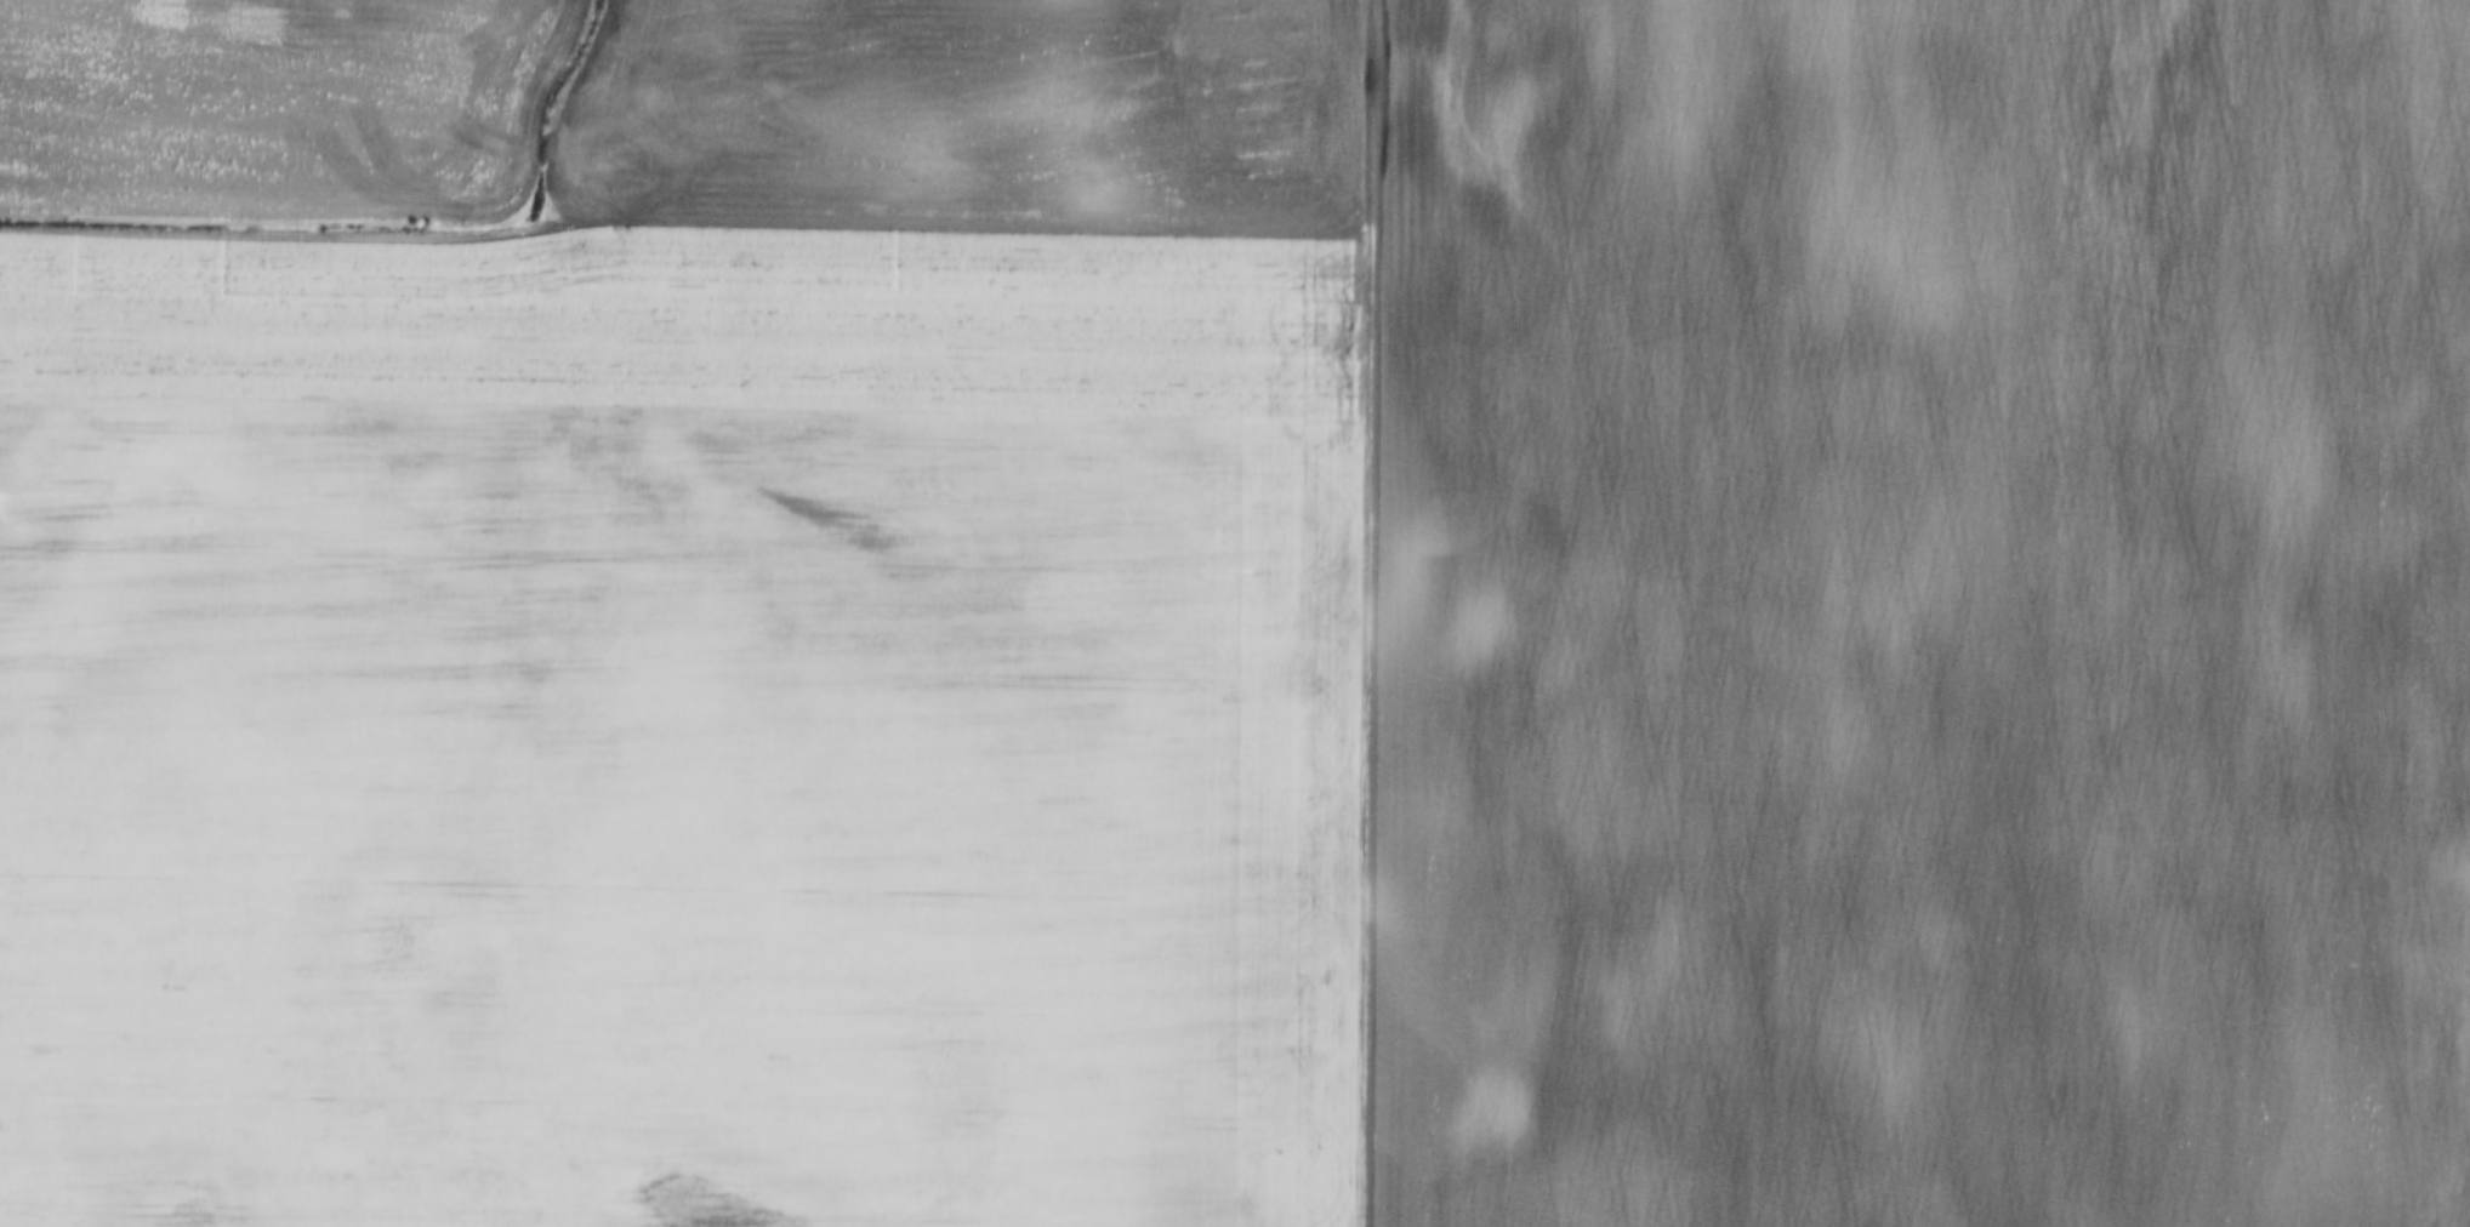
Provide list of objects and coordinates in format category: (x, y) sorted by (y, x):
road: (1371, 612)

